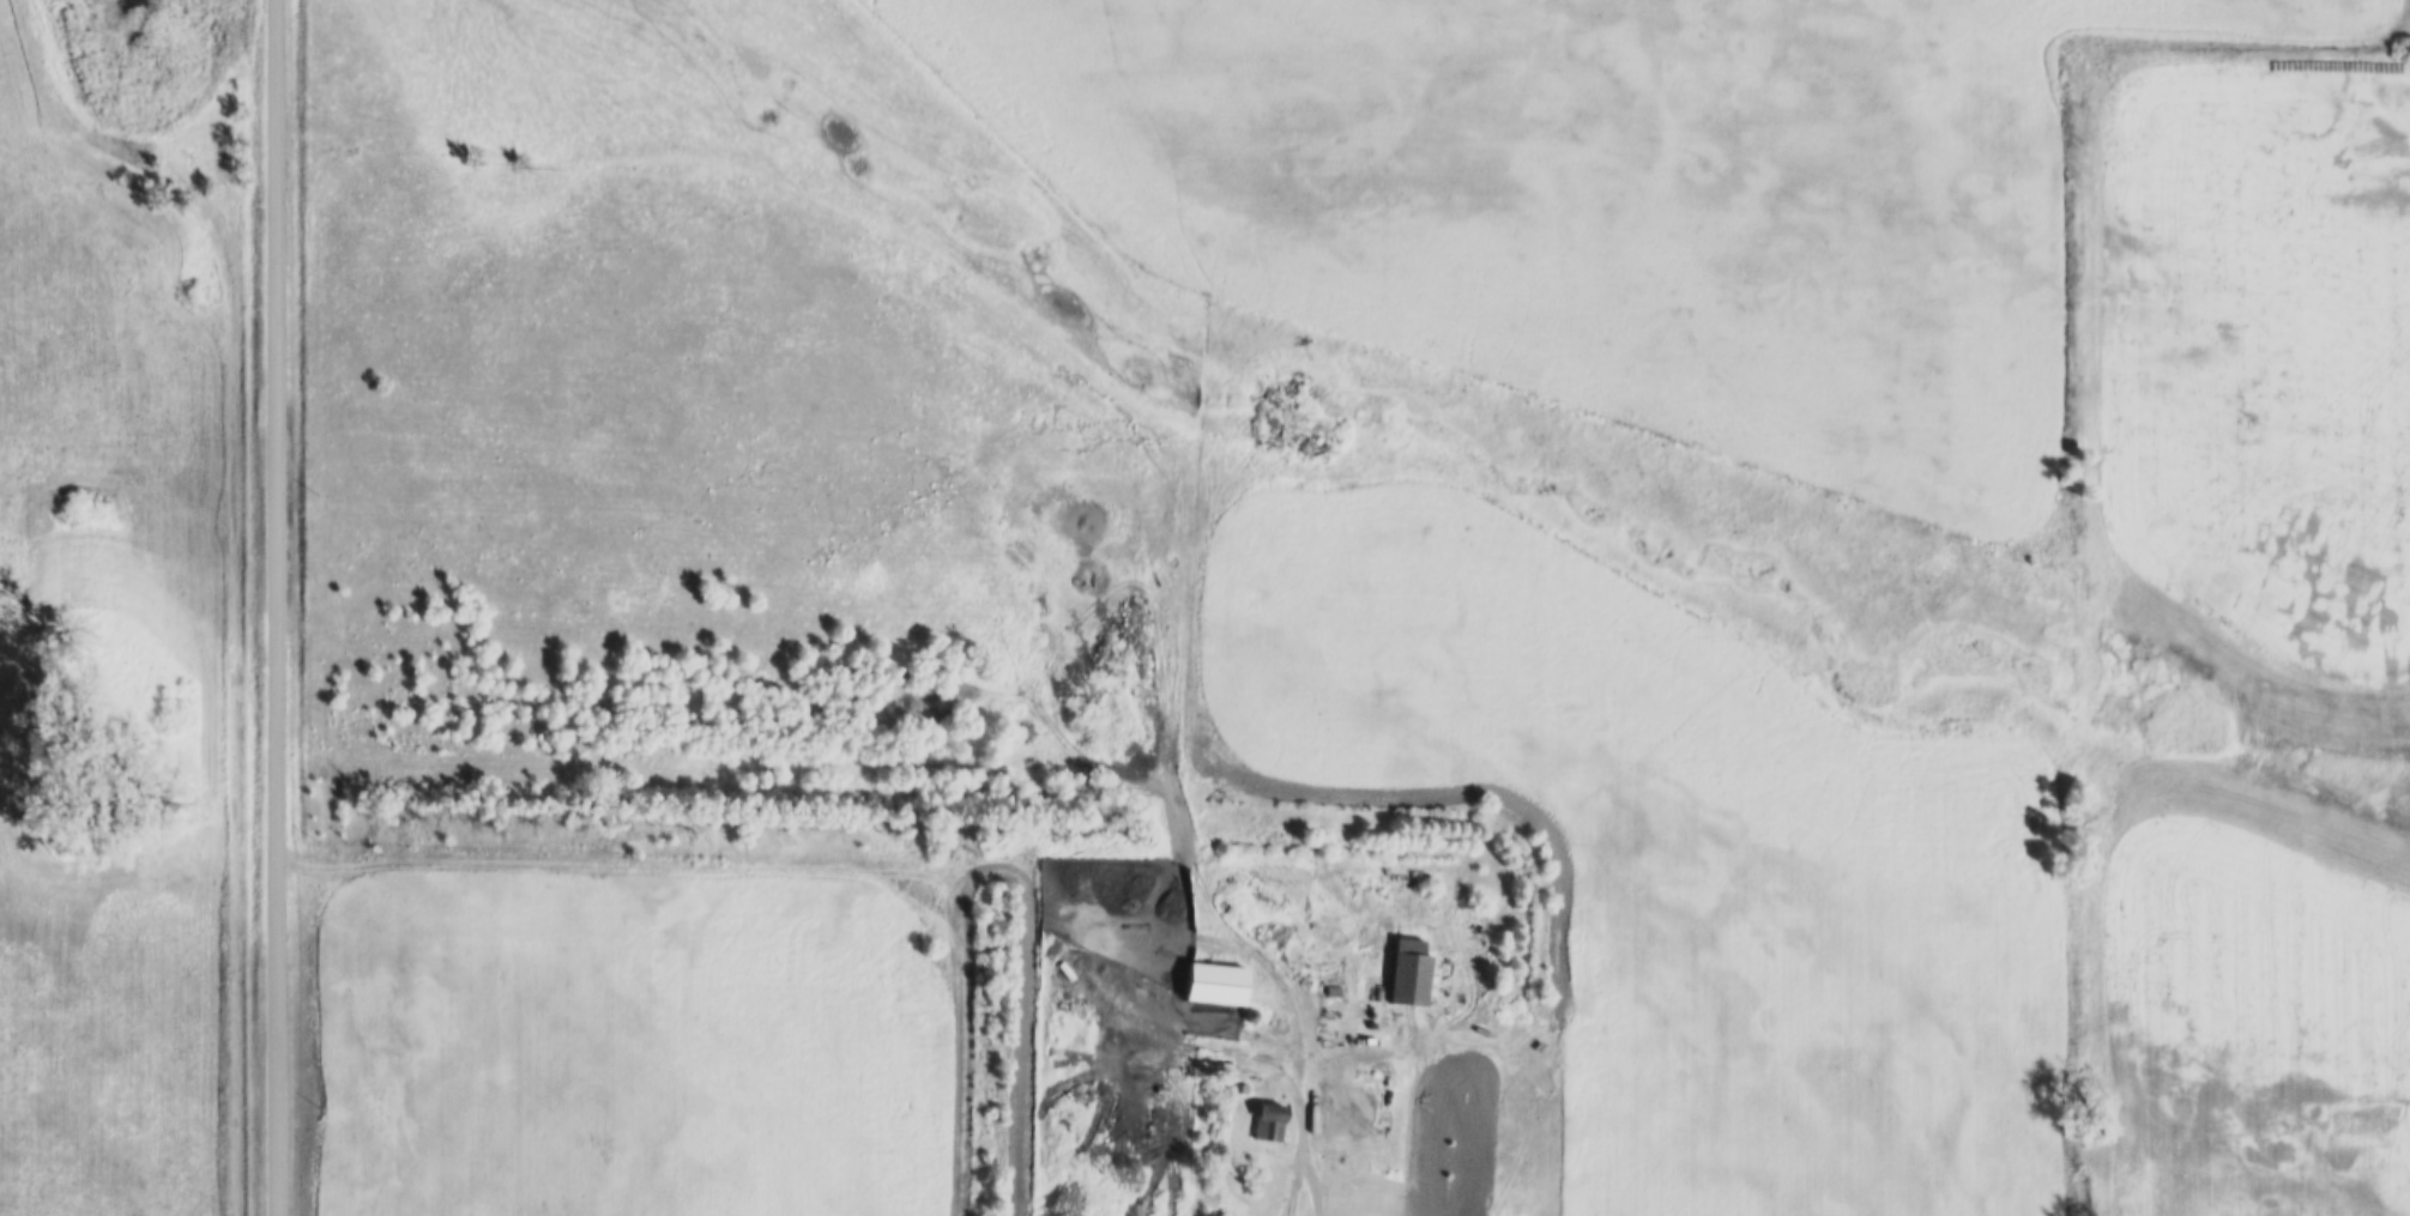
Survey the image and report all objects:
road: (277, 607)
building: (1415, 975)
building: (1224, 985)
building: (1370, 1039)
building: (1276, 1125)
road: (1315, 1170)

